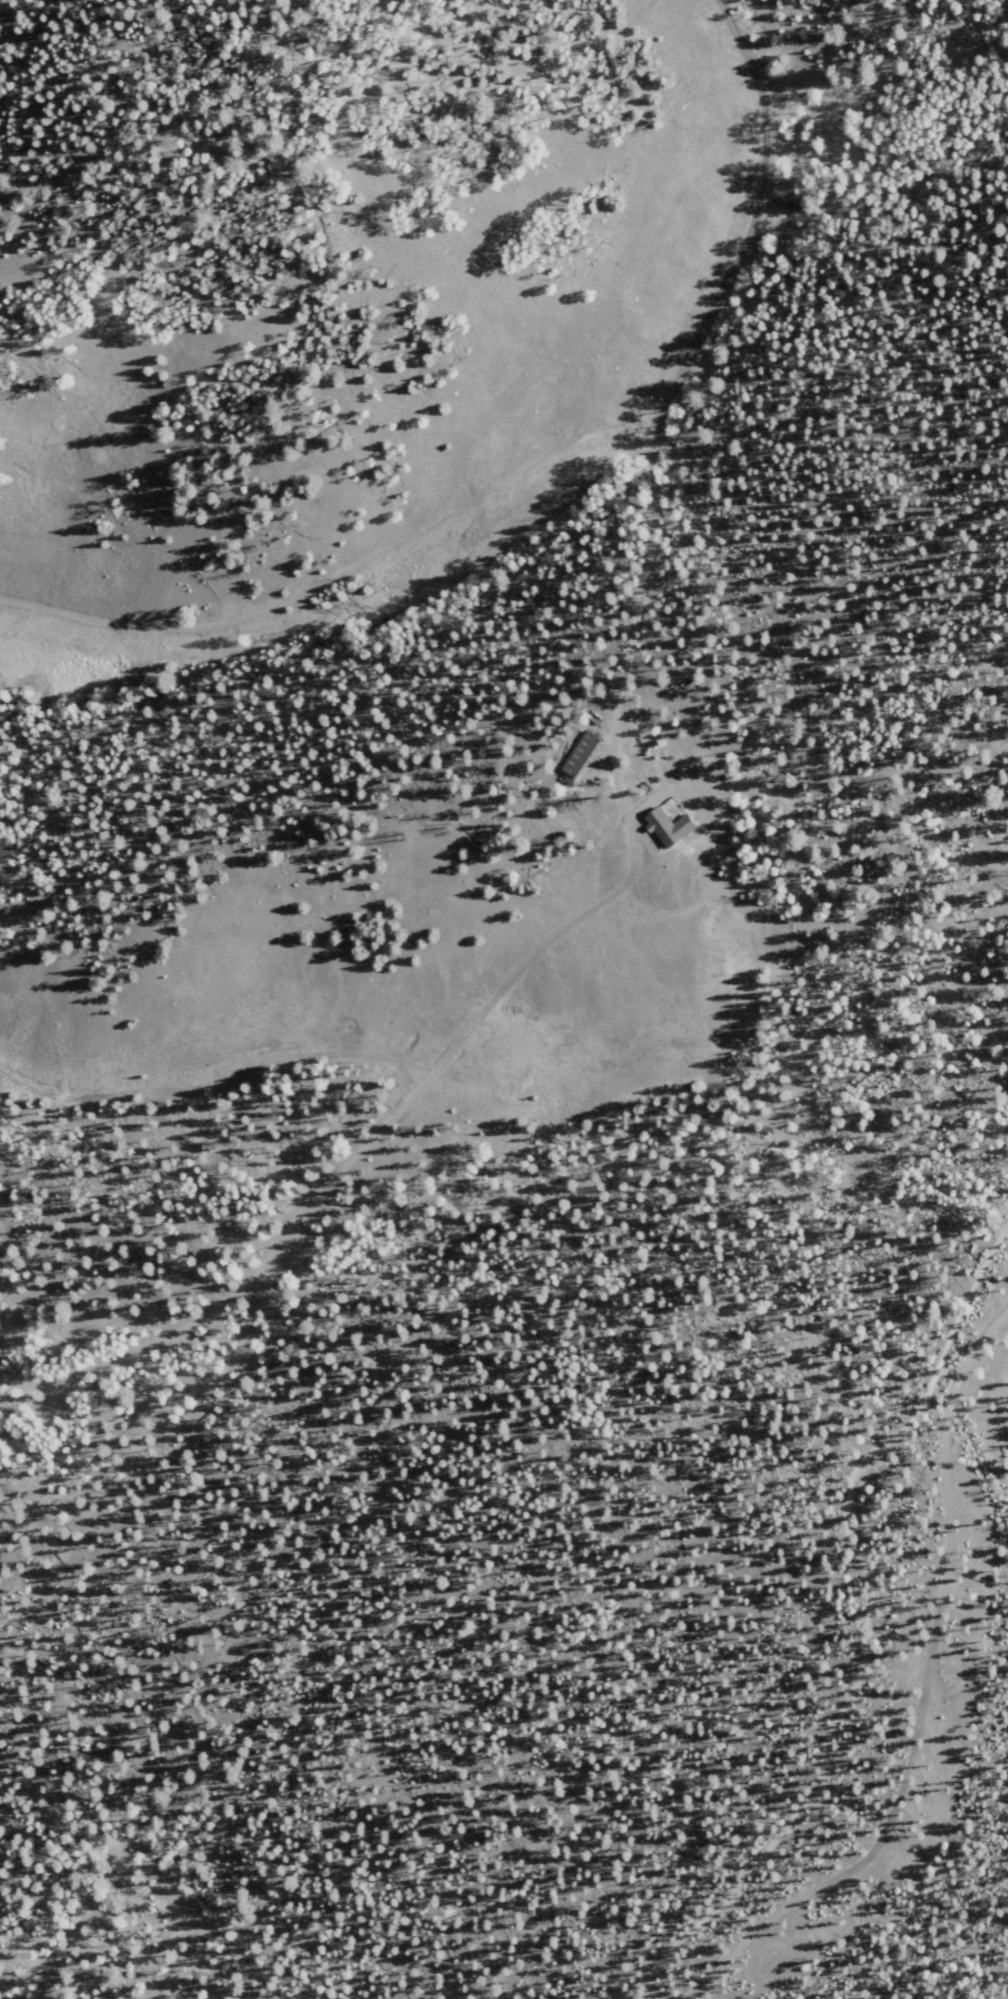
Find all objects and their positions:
building: (578, 757)
building: (669, 826)
road: (821, 1642)

